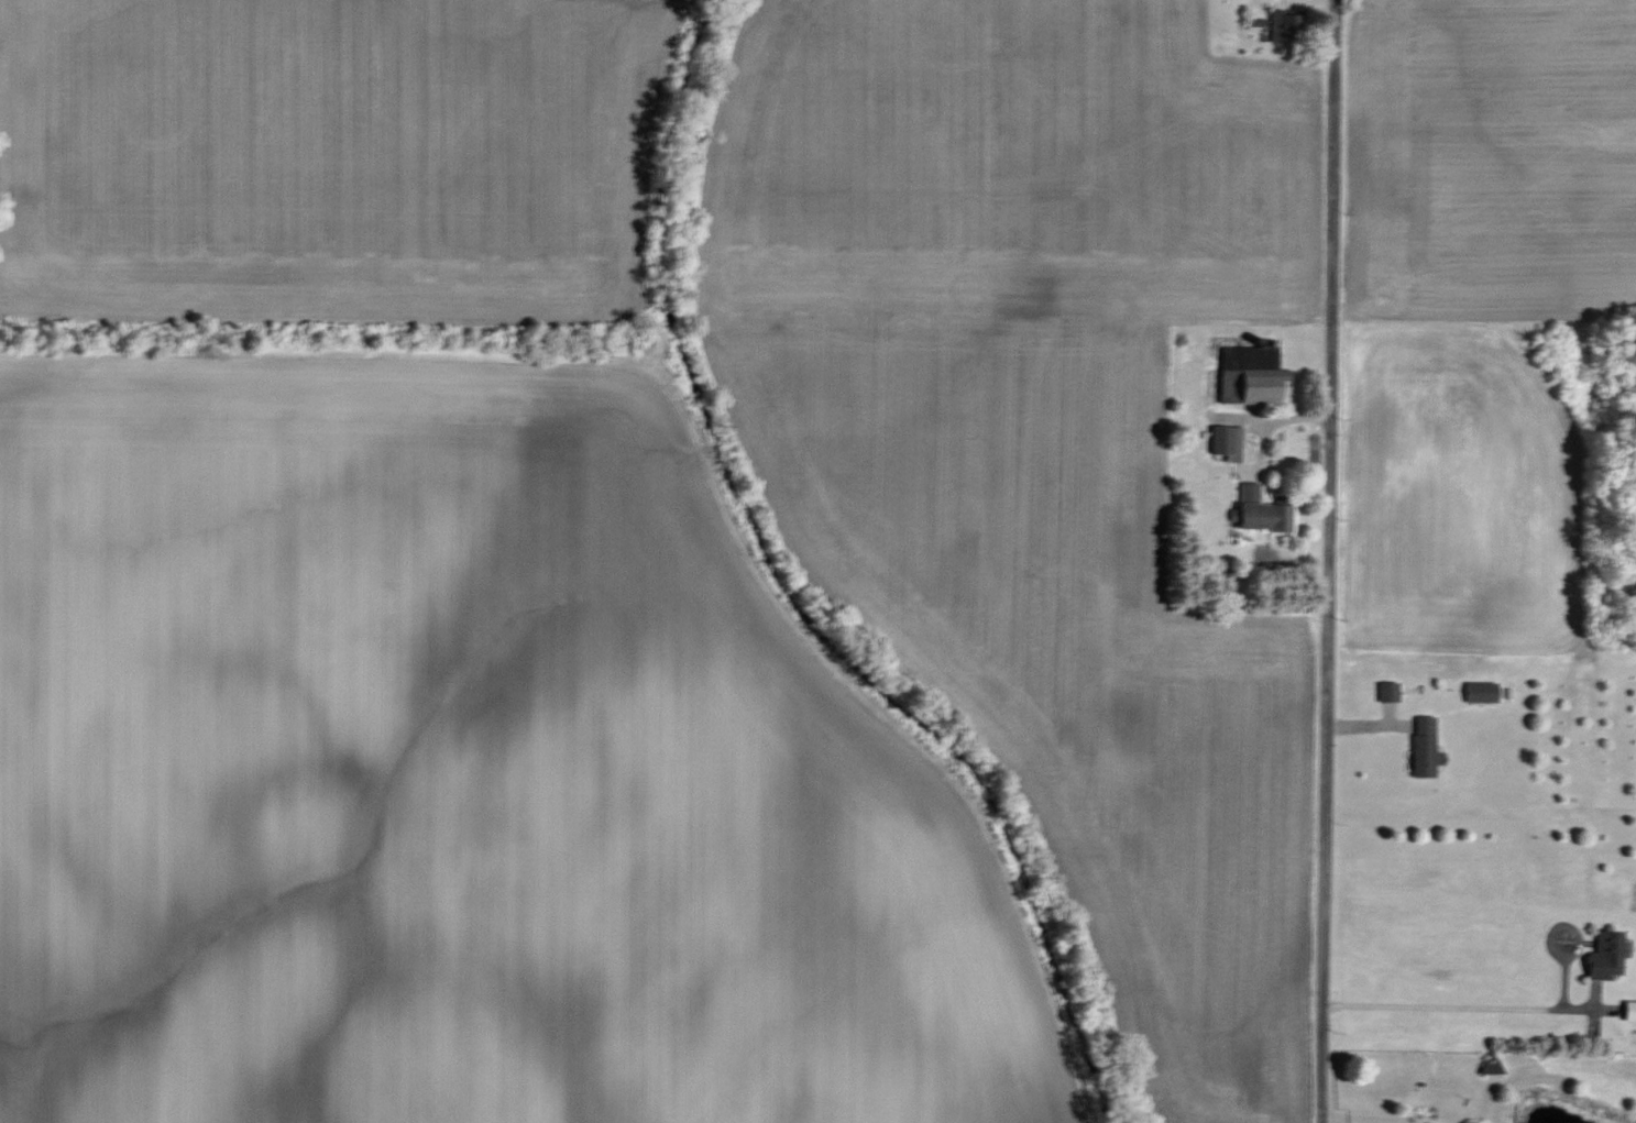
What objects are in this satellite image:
building: (1278, 26)
building: (1247, 379)
building: (1226, 441)
building: (1260, 510)
road: (1326, 561)
building: (1387, 691)
building: (1480, 692)
building: (1423, 746)
building: (1604, 955)
road: (1465, 1008)
building: (1628, 1011)
road: (1390, 1118)

